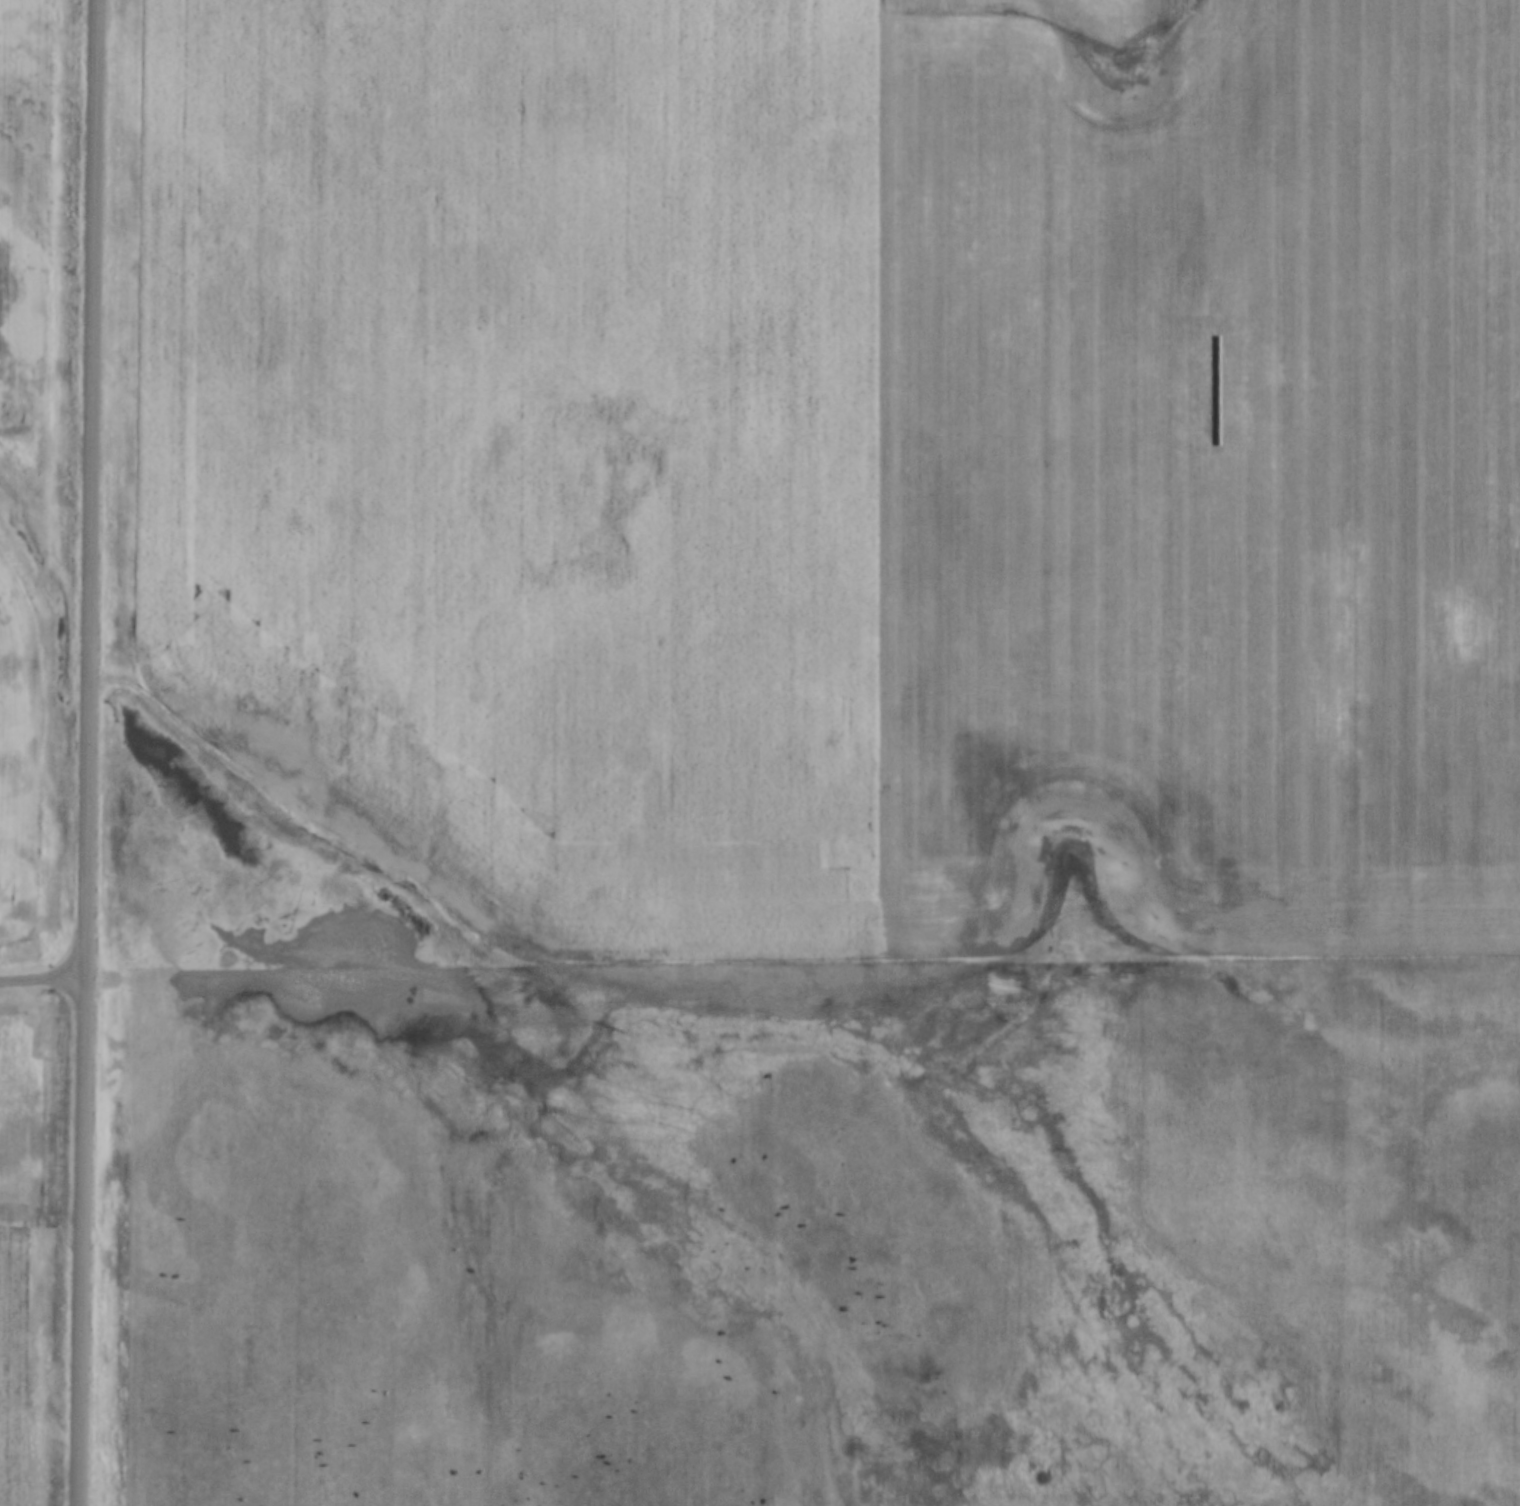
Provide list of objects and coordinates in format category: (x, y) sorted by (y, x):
road: (88, 753)
road: (43, 978)

